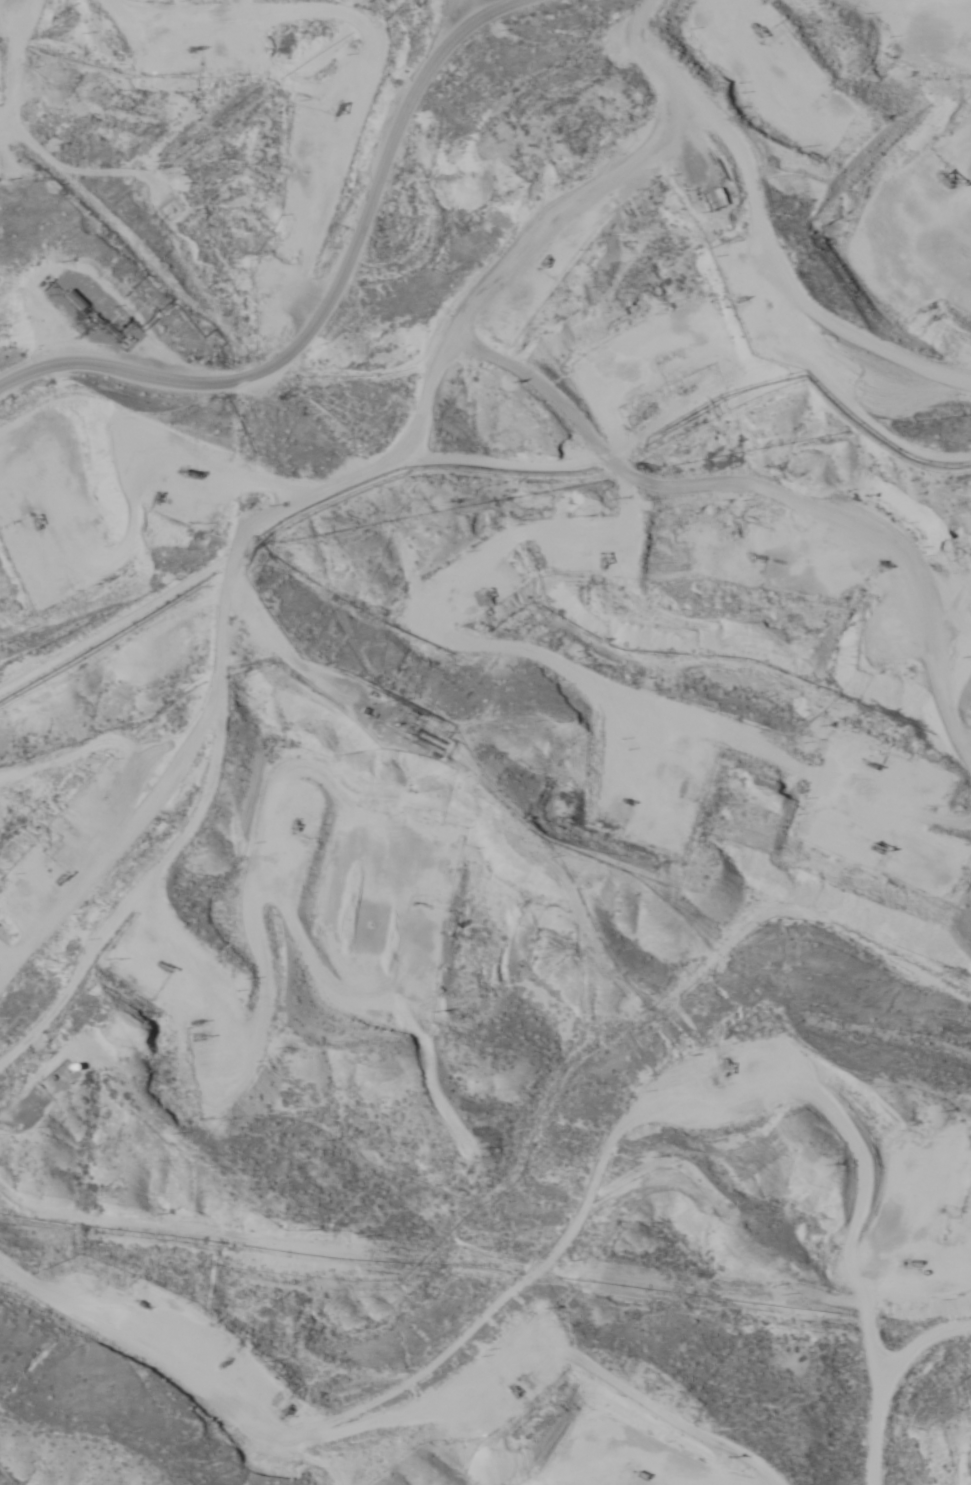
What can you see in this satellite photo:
road: (475, 9)
road: (618, 35)
road: (229, 148)
road: (501, 191)
building: (707, 198)
road: (333, 303)
road: (773, 519)
road: (600, 690)
road: (177, 805)
road: (628, 1161)
road: (923, 1398)
road: (302, 1403)

